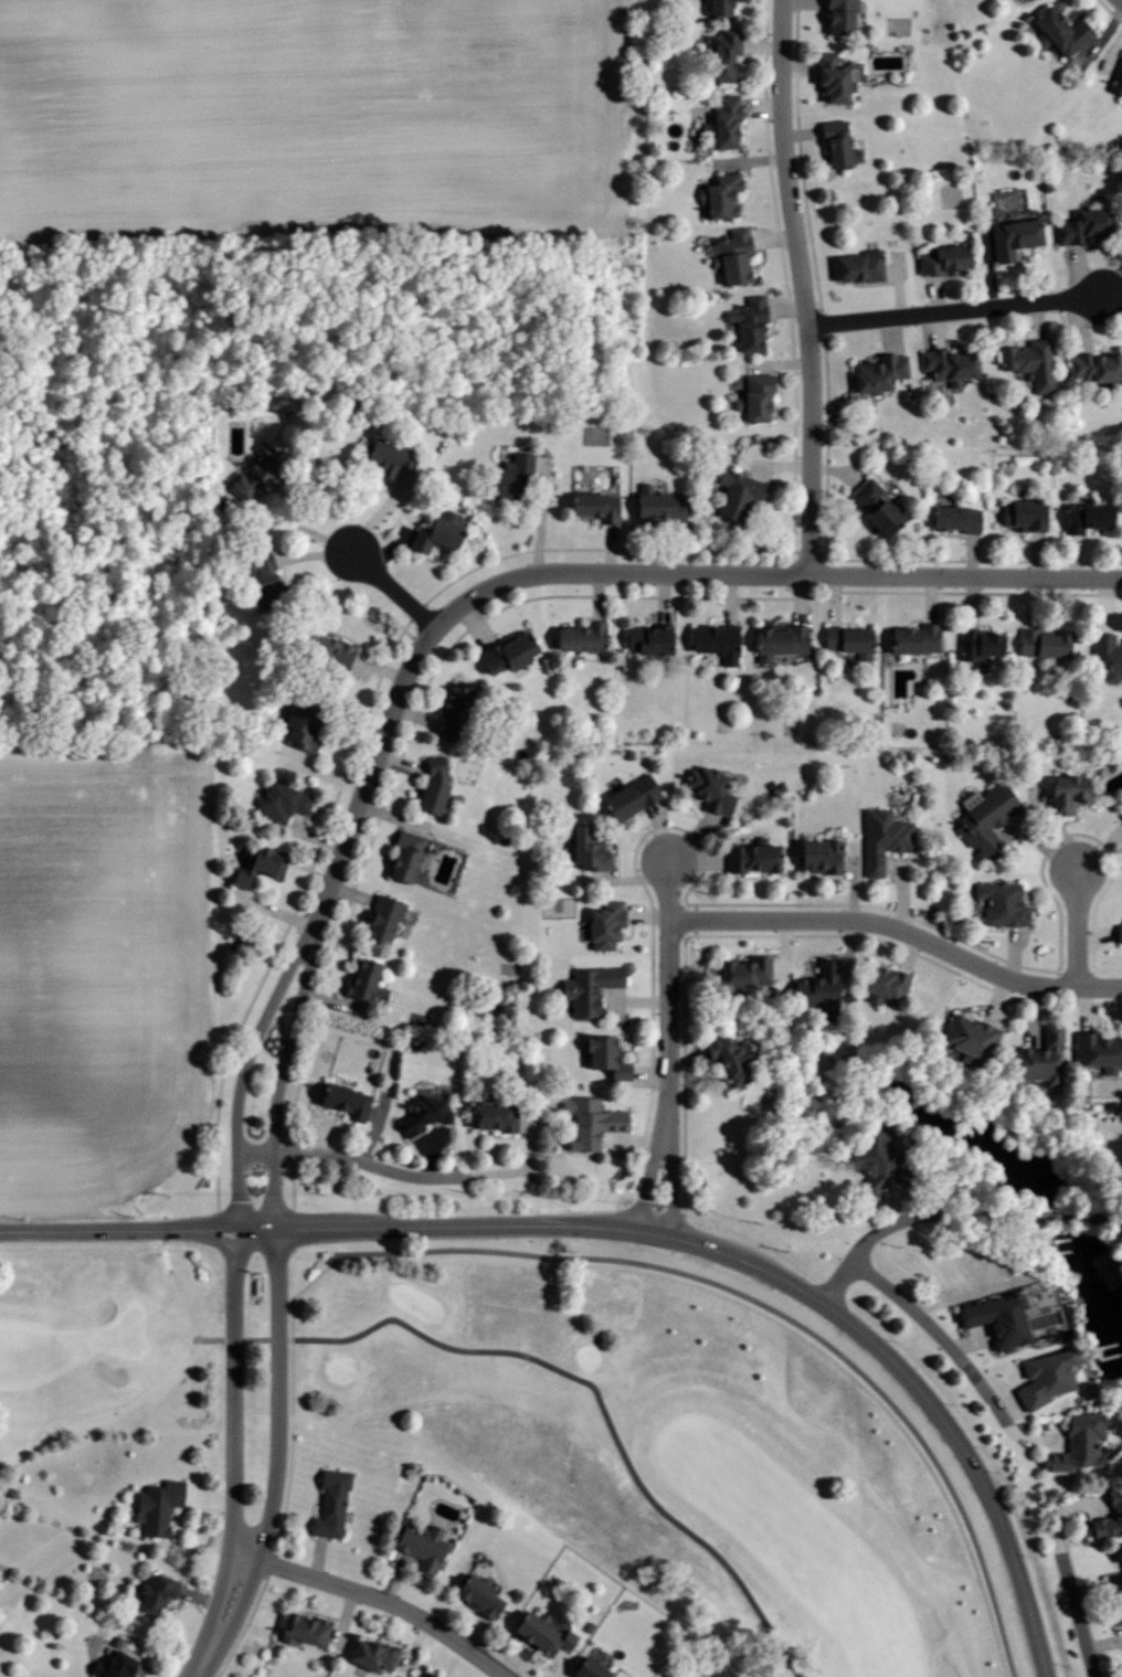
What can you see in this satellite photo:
road: (1120, 1)
building: (716, 6)
road: (1110, 10)
building: (837, 15)
building: (1058, 30)
building: (721, 52)
building: (834, 75)
building: (1116, 75)
building: (722, 119)
building: (836, 142)
building: (718, 193)
building: (1080, 224)
building: (1012, 236)
building: (729, 254)
building: (940, 257)
building: (857, 265)
road: (818, 277)
road: (802, 286)
road: (956, 310)
building: (745, 321)
building: (1029, 361)
building: (949, 363)
building: (1094, 367)
building: (877, 371)
building: (752, 396)
building: (385, 455)
building: (250, 471)
building: (509, 474)
building: (734, 491)
building: (592, 505)
building: (874, 505)
building: (1020, 514)
road: (374, 516)
building: (1083, 516)
building: (953, 518)
road: (536, 523)
building: (434, 532)
road: (974, 561)
building: (258, 569)
road: (605, 573)
road: (395, 591)
road: (479, 622)
building: (579, 636)
building: (645, 638)
building: (912, 638)
building: (846, 639)
building: (713, 640)
building: (776, 640)
building: (1041, 641)
building: (975, 643)
building: (322, 648)
building: (505, 651)
building: (1104, 656)
building: (447, 710)
road: (369, 715)
building: (295, 725)
building: (431, 784)
building: (707, 788)
building: (1065, 792)
building: (627, 797)
building: (279, 802)
building: (983, 817)
building: (881, 838)
building: (586, 849)
building: (817, 855)
building: (402, 856)
building: (751, 856)
building: (255, 864)
building: (1001, 903)
building: (380, 917)
building: (602, 924)
road: (1077, 928)
road: (900, 932)
building: (1118, 932)
building: (742, 972)
building: (363, 983)
building: (881, 983)
building: (586, 988)
building: (815, 988)
building: (966, 1038)
road: (669, 1047)
building: (1097, 1050)
building: (602, 1057)
building: (726, 1057)
building: (1036, 1058)
road: (244, 1073)
road: (282, 1080)
building: (342, 1100)
building: (422, 1114)
building: (490, 1116)
building: (588, 1122)
building: (871, 1159)
road: (403, 1172)
road: (953, 1214)
road: (327, 1229)
road: (739, 1296)
building: (996, 1319)
road: (403, 1322)
road: (934, 1328)
road: (256, 1339)
building: (1044, 1378)
road: (921, 1390)
road: (233, 1394)
road: (280, 1398)
building: (1076, 1443)
park: (440, 1483)
building: (10, 1493)
building: (329, 1503)
building: (156, 1506)
building: (1109, 1517)
building: (422, 1548)
building: (1120, 1568)
building: (155, 1592)
building: (477, 1598)
road: (383, 1601)
building: (1114, 1614)
road: (1077, 1615)
road: (223, 1620)
building: (301, 1631)
building: (540, 1634)
building: (369, 1655)
building: (110, 1665)
building: (586, 1669)
building: (425, 1675)

